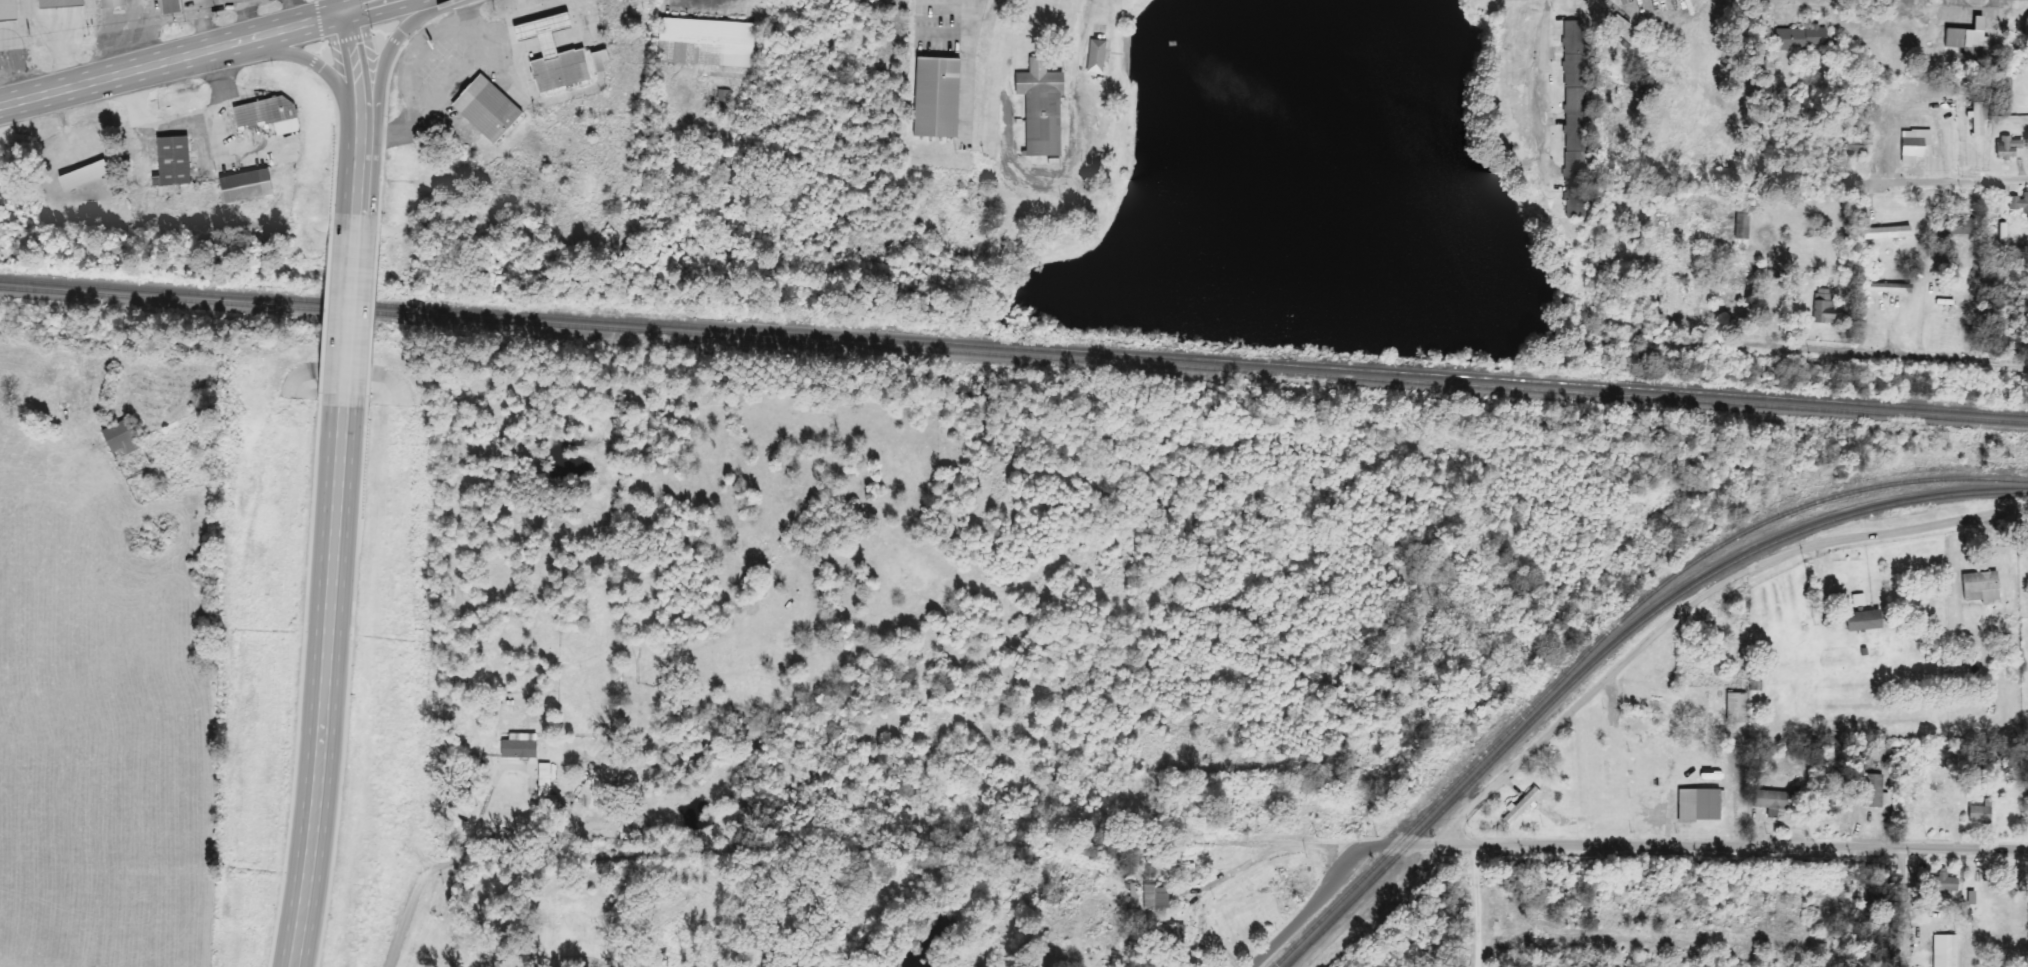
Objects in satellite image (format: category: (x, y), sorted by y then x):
building: (57, 3)
building: (110, 3)
road: (368, 4)
building: (169, 6)
building: (6, 9)
traffic signals: (351, 9)
building: (1964, 35)
building: (1797, 37)
building: (704, 42)
building: (550, 55)
building: (1095, 56)
road: (175, 57)
road: (307, 59)
building: (597, 59)
road: (390, 76)
building: (1574, 85)
building: (2004, 85)
road: (1541, 92)
building: (936, 97)
building: (722, 100)
building: (1039, 108)
building: (494, 111)
building: (266, 114)
building: (1976, 118)
road: (371, 135)
building: (1913, 143)
building: (2006, 146)
building: (1852, 147)
building: (169, 161)
building: (78, 176)
road: (1931, 183)
building: (241, 185)
building: (1576, 201)
building: (2019, 202)
building: (1957, 226)
building: (1886, 232)
building: (1886, 288)
building: (1823, 306)
road: (360, 342)
railway: (1014, 347)
dam: (1280, 348)
railway: (1014, 354)
road: (1907, 356)
building: (120, 438)
building: (1980, 587)
road: (1690, 602)
building: (1858, 602)
building: (1862, 621)
railway: (1604, 636)
building: (1715, 639)
railway: (1610, 647)
road: (344, 695)
building: (1736, 708)
building: (517, 746)
building: (542, 780)
building: (1874, 791)
building: (1775, 800)
building: (1699, 804)
building: (1520, 807)
building: (1979, 813)
road: (1531, 845)
building: (1942, 883)
building: (1132, 895)
building: (1153, 897)
road: (1310, 907)
road: (1902, 907)
building: (1169, 933)

